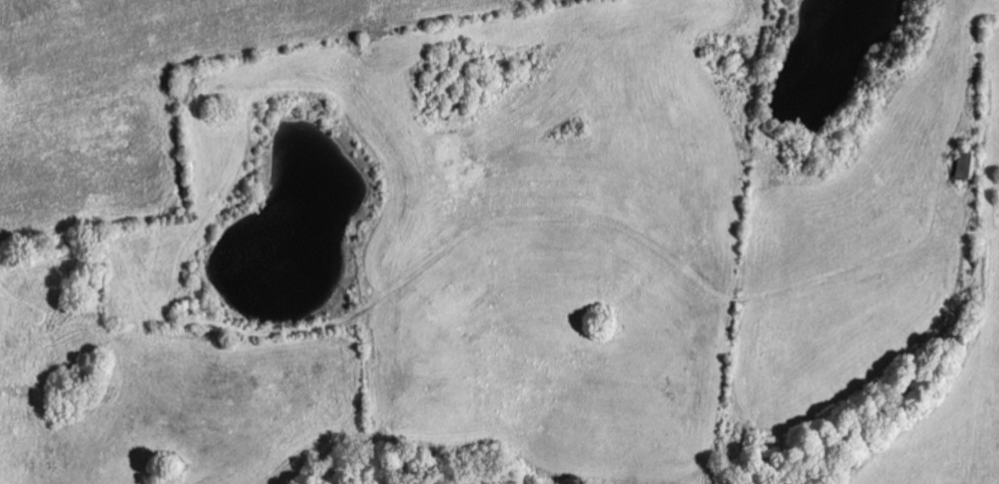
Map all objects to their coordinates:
building: (965, 164)
road: (338, 332)

